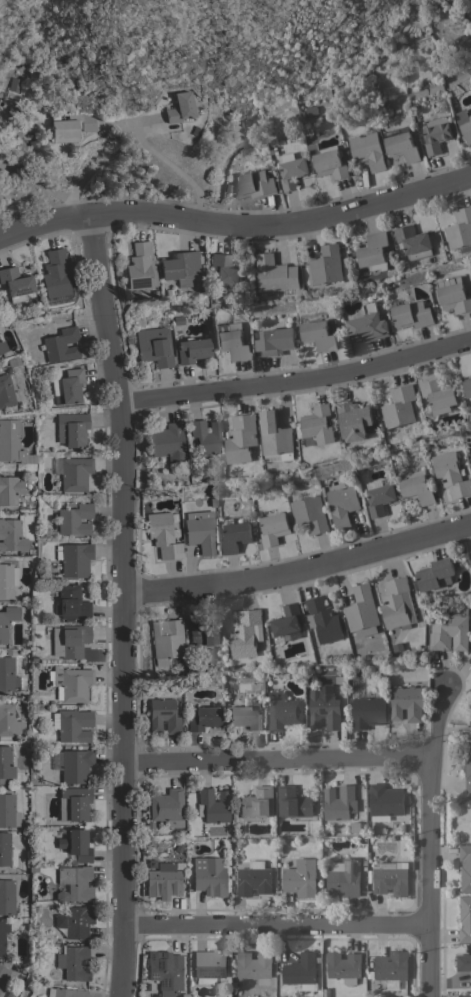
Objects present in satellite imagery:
building: (179, 107)
building: (470, 107)
building: (464, 123)
road: (315, 125)
building: (68, 126)
building: (436, 133)
building: (401, 144)
road: (132, 145)
building: (368, 150)
building: (327, 160)
building: (291, 170)
building: (255, 184)
road: (236, 225)
building: (460, 227)
building: (413, 241)
building: (374, 251)
building: (140, 266)
building: (327, 266)
building: (179, 267)
building: (224, 272)
building: (53, 273)
building: (276, 273)
building: (15, 283)
building: (454, 297)
building: (412, 314)
building: (367, 324)
building: (318, 335)
building: (231, 341)
building: (275, 342)
building: (60, 344)
building: (2, 346)
building: (153, 347)
building: (191, 349)
road: (295, 383)
building: (67, 386)
building: (468, 386)
building: (5, 391)
building: (440, 394)
building: (400, 406)
building: (354, 420)
building: (319, 424)
building: (70, 428)
building: (205, 436)
building: (276, 436)
building: (241, 438)
building: (166, 441)
building: (12, 443)
building: (74, 473)
building: (450, 474)
building: (417, 487)
building: (9, 489)
building: (379, 499)
building: (342, 504)
building: (309, 513)
building: (73, 518)
building: (273, 528)
building: (200, 531)
building: (161, 535)
building: (236, 535)
building: (10, 536)
building: (73, 559)
road: (298, 569)
building: (435, 574)
building: (7, 579)
building: (70, 603)
building: (397, 603)
road: (122, 605)
building: (362, 611)
building: (6, 618)
building: (57, 619)
building: (323, 619)
building: (287, 620)
building: (202, 632)
building: (448, 632)
building: (247, 633)
building: (68, 640)
building: (165, 640)
building: (7, 674)
building: (70, 683)
building: (407, 703)
building: (325, 706)
building: (283, 711)
building: (368, 712)
building: (162, 715)
building: (201, 716)
building: (245, 716)
building: (8, 722)
building: (71, 725)
building: (470, 730)
road: (278, 761)
building: (5, 763)
building: (74, 765)
building: (468, 772)
building: (385, 801)
building: (293, 802)
building: (73, 803)
building: (257, 803)
building: (340, 803)
building: (211, 805)
building: (166, 807)
building: (7, 811)
road: (430, 841)
building: (75, 845)
building: (6, 850)
building: (465, 867)
building: (208, 876)
building: (254, 878)
building: (300, 878)
building: (344, 878)
building: (391, 878)
building: (164, 879)
building: (74, 882)
building: (6, 896)
building: (465, 918)
building: (76, 921)
road: (280, 927)
building: (2, 933)
building: (73, 962)
building: (463, 962)
building: (392, 965)
building: (207, 966)
building: (343, 966)
building: (254, 967)
building: (301, 971)
building: (165, 972)
building: (3, 975)
building: (64, 992)
building: (463, 996)

